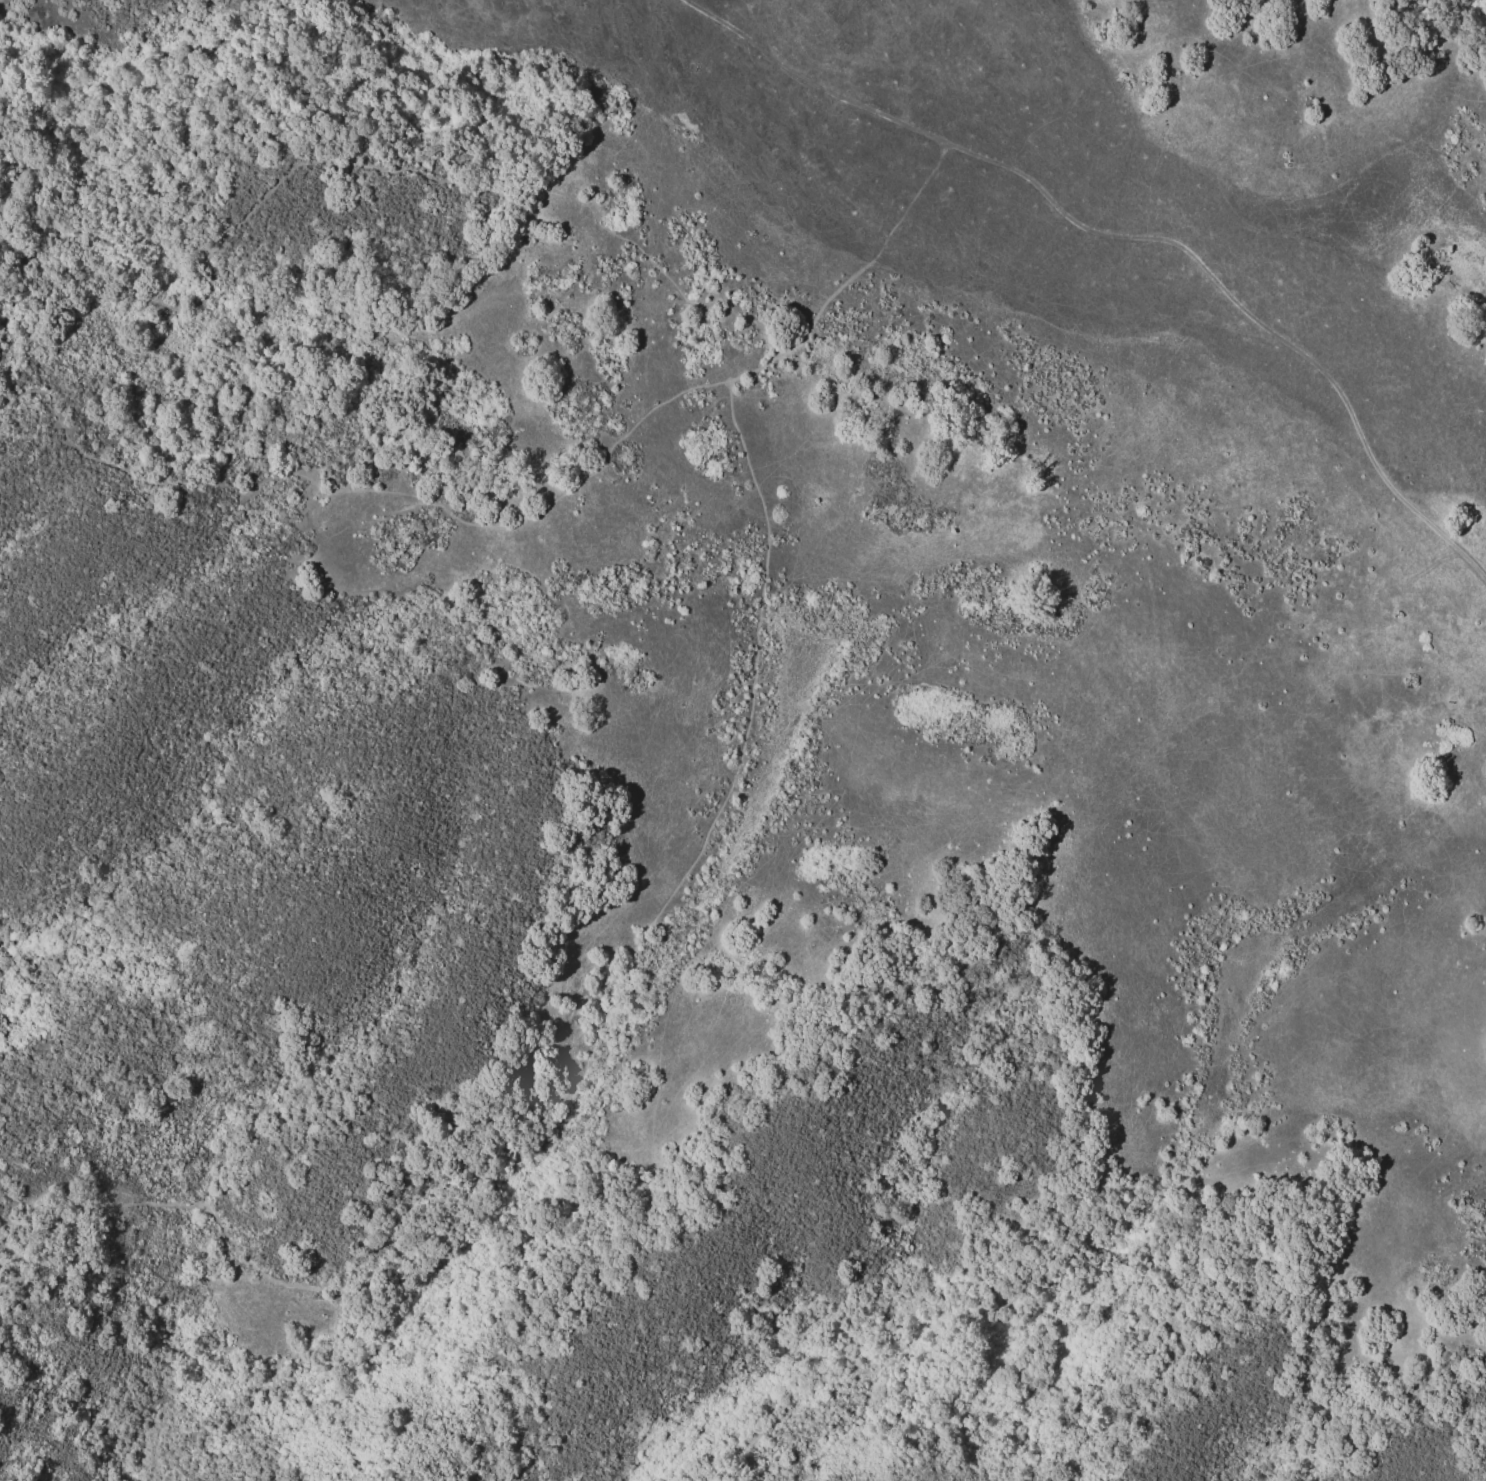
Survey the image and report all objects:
road: (1132, 233)
road: (750, 684)

